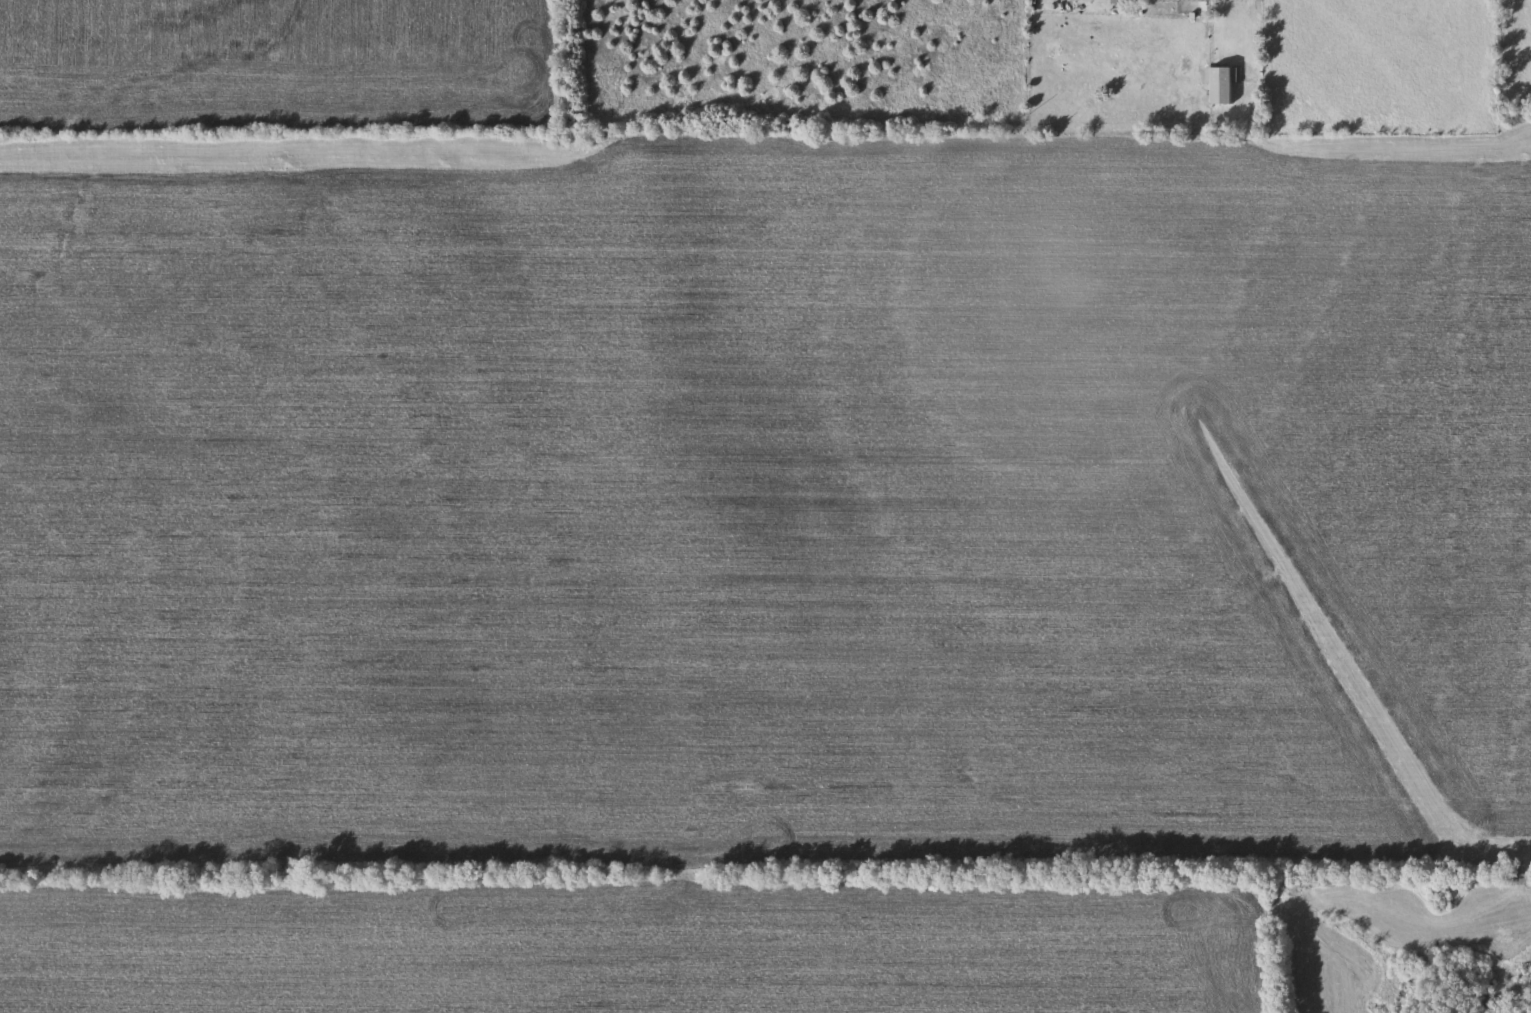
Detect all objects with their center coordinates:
building: (1223, 86)

